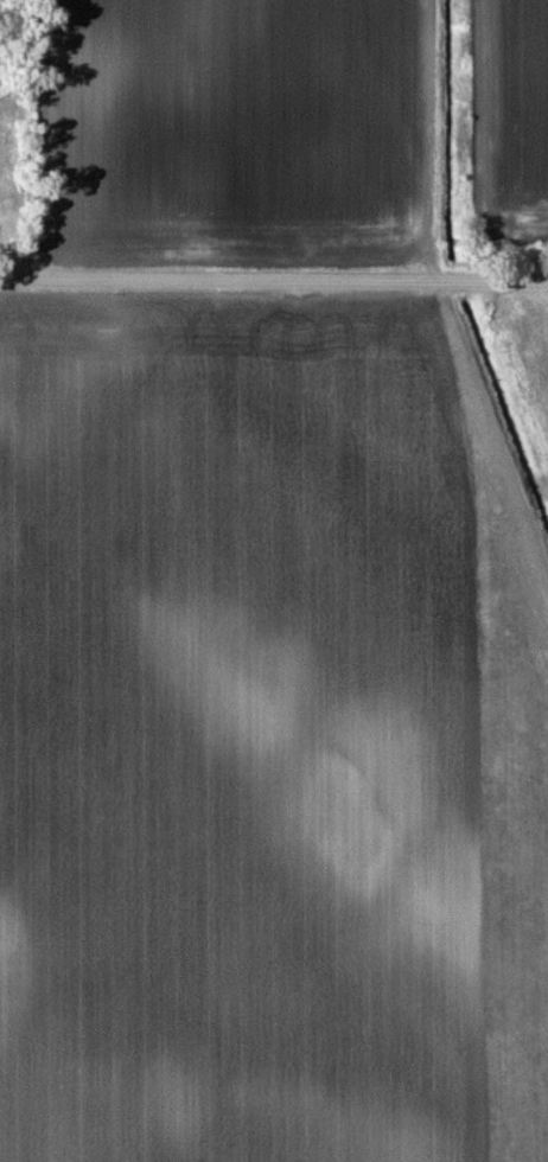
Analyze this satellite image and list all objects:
road: (178, 279)
road: (452, 280)

